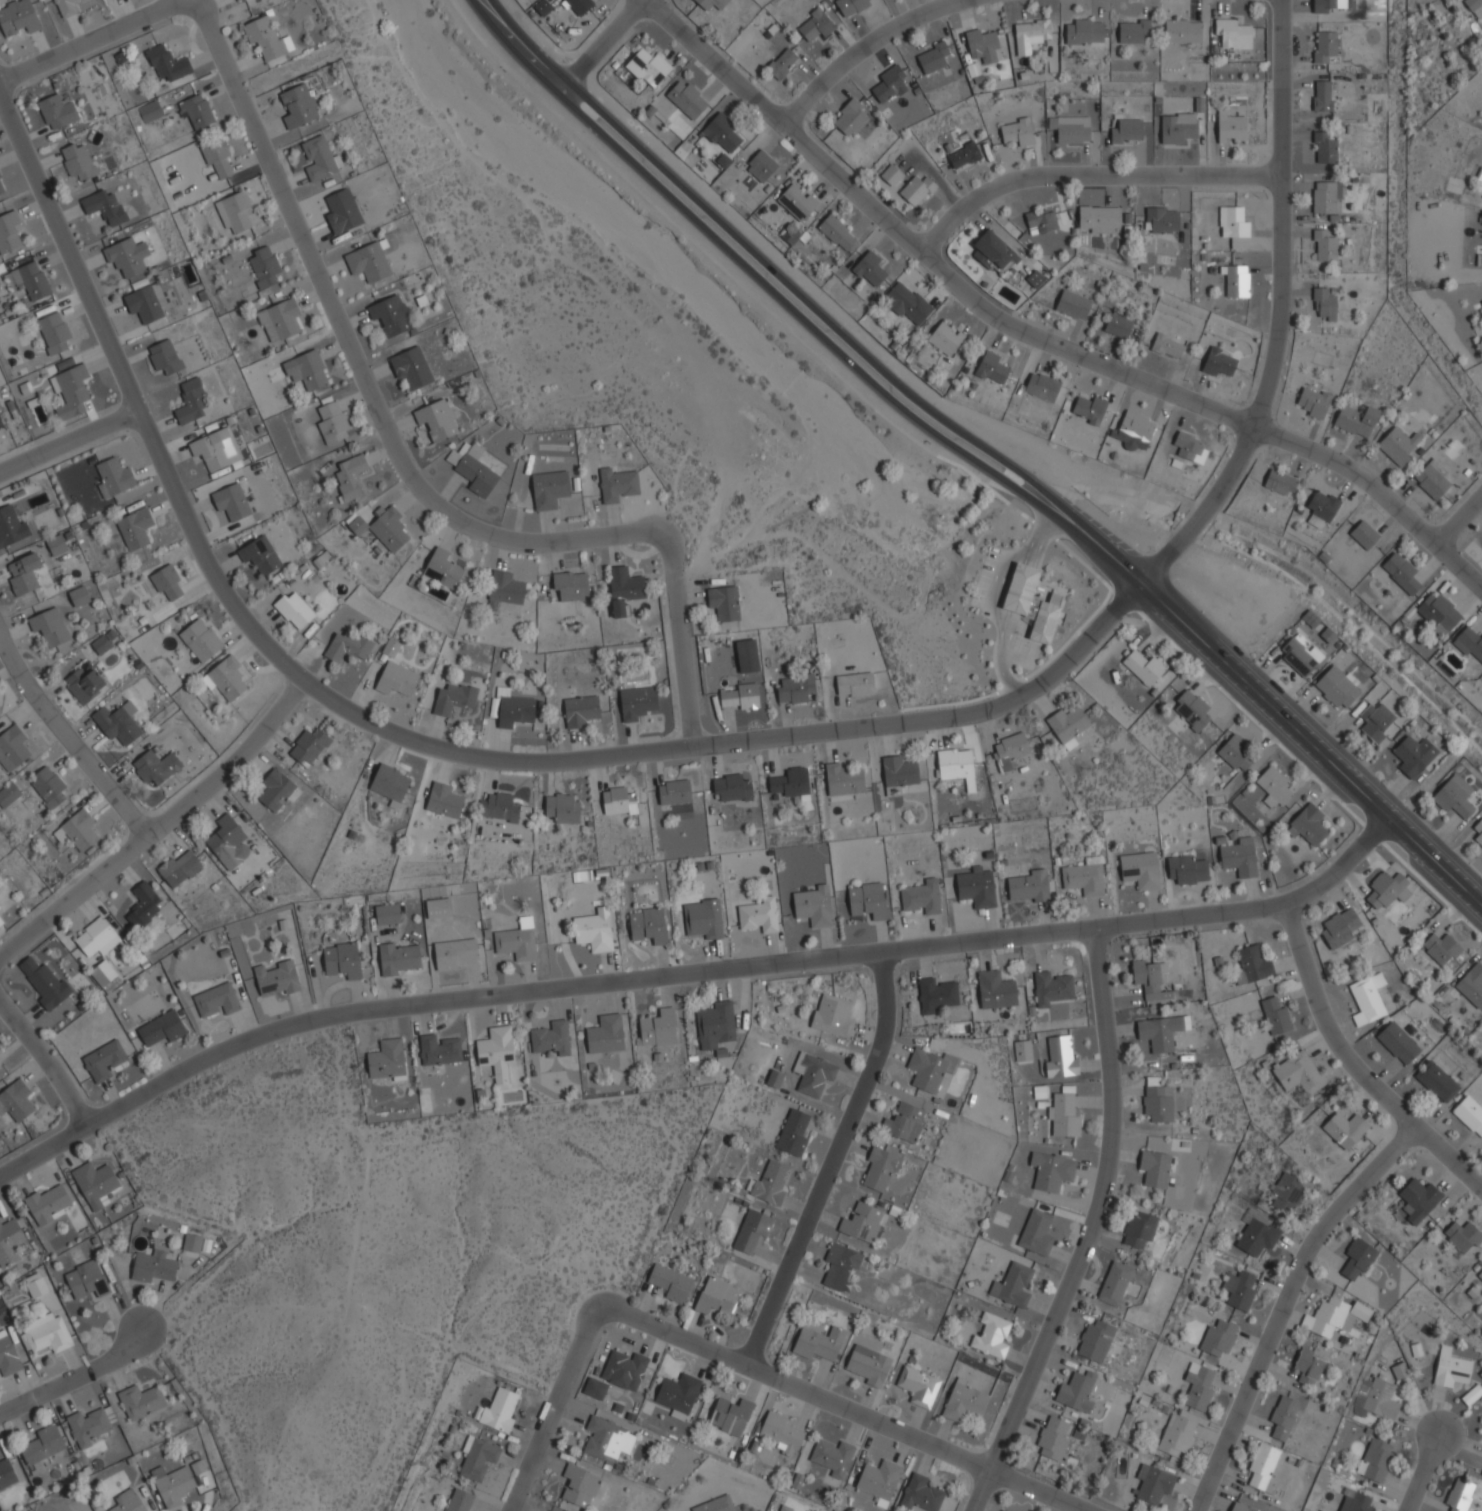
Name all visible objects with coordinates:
building: (237, 0)
building: (710, 4)
building: (577, 5)
building: (850, 6)
building: (1325, 6)
building: (68, 7)
building: (543, 7)
building: (1474, 7)
building: (18, 18)
building: (815, 24)
building: (1084, 31)
building: (1133, 31)
building: (1183, 31)
building: (1232, 33)
building: (1030, 34)
building: (266, 39)
road: (865, 45)
building: (982, 45)
building: (1324, 45)
road: (599, 47)
building: (931, 57)
building: (781, 63)
building: (167, 64)
building: (648, 67)
building: (890, 84)
building: (1322, 95)
building: (686, 99)
building: (298, 106)
building: (149, 110)
building: (195, 110)
building: (57, 111)
building: (850, 117)
building: (1176, 127)
building: (1070, 128)
building: (1231, 129)
building: (1017, 131)
building: (1127, 131)
building: (721, 133)
building: (1324, 148)
building: (963, 156)
building: (319, 158)
building: (218, 159)
building: (77, 161)
building: (761, 166)
building: (891, 175)
building: (1477, 175)
road: (1088, 176)
building: (1, 188)
building: (916, 190)
building: (1324, 197)
building: (796, 202)
building: (103, 205)
building: (235, 211)
building: (342, 212)
building: (1099, 219)
building: (1161, 219)
building: (1041, 220)
building: (1233, 221)
building: (8, 231)
building: (837, 233)
building: (1324, 246)
building: (993, 252)
building: (126, 256)
building: (1479, 261)
building: (368, 262)
building: (263, 268)
building: (870, 269)
building: (31, 279)
road: (781, 279)
building: (1034, 279)
building: (1236, 281)
road: (764, 286)
building: (1481, 301)
building: (145, 302)
building: (1481, 302)
building: (906, 303)
building: (1072, 304)
building: (1324, 304)
road: (1280, 312)
building: (391, 315)
building: (278, 319)
building: (1118, 325)
building: (53, 332)
road: (1034, 337)
building: (945, 339)
building: (1167, 347)
building: (164, 356)
building: (1219, 362)
road: (359, 366)
building: (411, 368)
building: (991, 368)
building: (306, 370)
building: (1042, 387)
building: (70, 391)
building: (190, 401)
building: (1312, 401)
building: (1090, 409)
building: (436, 420)
building: (1356, 420)
building: (331, 421)
building: (1134, 430)
road: (68, 440)
building: (1399, 445)
building: (1189, 448)
building: (216, 449)
building: (472, 469)
building: (350, 475)
building: (113, 476)
building: (1432, 479)
building: (1279, 482)
building: (617, 485)
building: (549, 489)
building: (230, 501)
building: (1321, 509)
road: (1458, 517)
building: (11, 526)
building: (135, 528)
building: (382, 528)
building: (1364, 535)
building: (55, 545)
building: (259, 554)
road: (1114, 560)
building: (442, 568)
building: (23, 573)
building: (1401, 573)
building: (168, 583)
building: (570, 585)
building: (623, 588)
building: (503, 589)
building: (78, 596)
building: (1030, 602)
building: (724, 603)
building: (293, 609)
building: (1438, 612)
building: (49, 626)
building: (200, 639)
building: (104, 641)
building: (1469, 643)
building: (347, 646)
building: (390, 647)
building: (1301, 654)
building: (747, 656)
building: (1143, 667)
building: (226, 677)
building: (396, 680)
building: (84, 684)
building: (855, 685)
building: (1336, 687)
building: (795, 688)
building: (741, 697)
building: (453, 699)
building: (636, 702)
building: (512, 708)
building: (579, 710)
building: (1191, 710)
building: (1376, 722)
building: (117, 723)
building: (1067, 726)
road: (408, 738)
road: (68, 739)
building: (12, 745)
building: (309, 746)
road: (1310, 746)
building: (1011, 750)
building: (1235, 753)
building: (1414, 756)
building: (155, 765)
building: (956, 766)
building: (898, 774)
building: (843, 780)
building: (790, 782)
building: (389, 785)
building: (1273, 787)
building: (48, 788)
building: (733, 788)
building: (278, 790)
building: (674, 792)
building: (8, 794)
building: (1454, 796)
building: (443, 801)
building: (618, 801)
building: (498, 807)
building: (562, 809)
road: (159, 824)
building: (1308, 826)
building: (77, 830)
building: (1478, 832)
building: (227, 842)
building: (1239, 858)
building: (179, 869)
building: (1140, 870)
building: (1187, 870)
building: (1083, 879)
building: (1029, 887)
building: (976, 888)
building: (1385, 890)
building: (921, 897)
building: (867, 901)
building: (143, 905)
building: (813, 906)
building: (0, 908)
building: (439, 908)
building: (386, 914)
building: (759, 916)
building: (703, 919)
building: (0, 922)
building: (648, 926)
building: (1339, 927)
building: (594, 931)
building: (96, 938)
building: (517, 941)
building: (235, 946)
building: (1441, 948)
building: (454, 953)
building: (398, 959)
building: (342, 960)
building: (1252, 965)
road: (690, 973)
building: (105, 976)
building: (277, 978)
building: (1150, 980)
building: (45, 983)
building: (1472, 985)
building: (1052, 988)
building: (995, 990)
building: (936, 995)
building: (1367, 998)
building: (216, 1001)
building: (833, 1015)
building: (1275, 1016)
building: (714, 1024)
building: (161, 1028)
building: (658, 1029)
building: (1161, 1032)
building: (605, 1035)
building: (551, 1038)
building: (1398, 1043)
building: (439, 1050)
building: (1025, 1051)
building: (496, 1052)
building: (1060, 1058)
building: (1, 1060)
road: (47, 1060)
building: (104, 1060)
building: (387, 1060)
road: (1355, 1066)
building: (926, 1070)
building: (1298, 1073)
building: (813, 1074)
building: (774, 1079)
building: (1436, 1082)
building: (1039, 1092)
building: (15, 1100)
building: (1157, 1100)
building: (1064, 1114)
building: (1469, 1114)
building: (904, 1123)
building: (1345, 1129)
building: (793, 1133)
road: (830, 1163)
building: (880, 1168)
building: (1154, 1169)
building: (1051, 1172)
building: (95, 1183)
building: (771, 1183)
building: (1287, 1193)
building: (1419, 1199)
building: (48, 1205)
building: (862, 1222)
road: (1090, 1229)
building: (1139, 1229)
building: (751, 1231)
building: (1036, 1233)
building: (1462, 1236)
building: (1257, 1237)
building: (10, 1242)
building: (192, 1243)
building: (1358, 1258)
building: (153, 1267)
building: (840, 1267)
building: (1480, 1273)
building: (86, 1280)
building: (671, 1283)
building: (1114, 1283)
building: (36, 1285)
building: (1013, 1286)
building: (1239, 1290)
building: (716, 1297)
road: (1283, 1304)
building: (1337, 1316)
building: (45, 1333)
building: (991, 1336)
building: (1218, 1338)
building: (1095, 1341)
building: (819, 1343)
building: (8, 1355)
road: (741, 1365)
building: (869, 1367)
building: (1308, 1367)
building: (1451, 1368)
building: (624, 1370)
building: (1399, 1371)
building: (1481, 1374)
road: (74, 1377)
building: (918, 1386)
building: (1198, 1386)
building: (595, 1389)
building: (1076, 1392)
building: (678, 1395)
building: (1471, 1395)
building: (1380, 1399)
building: (140, 1401)
building: (964, 1403)
building: (498, 1411)
building: (730, 1415)
building: (1283, 1417)
building: (1179, 1432)
building: (781, 1433)
building: (1053, 1438)
building: (608, 1440)
building: (41, 1447)
building: (832, 1457)
building: (477, 1458)
building: (1375, 1460)
building: (198, 1467)
building: (1263, 1467)
road: (1422, 1473)
building: (6, 1474)
building: (879, 1479)
building: (203, 1482)
building: (1153, 1484)
building: (172, 1485)
building: (579, 1486)
building: (921, 1494)
building: (1459, 1495)
building: (459, 1501)
building: (127, 1502)
building: (715, 1504)
building: (1242, 1507)
building: (785, 1508)
building: (1001, 1510)
building: (1002, 1510)

